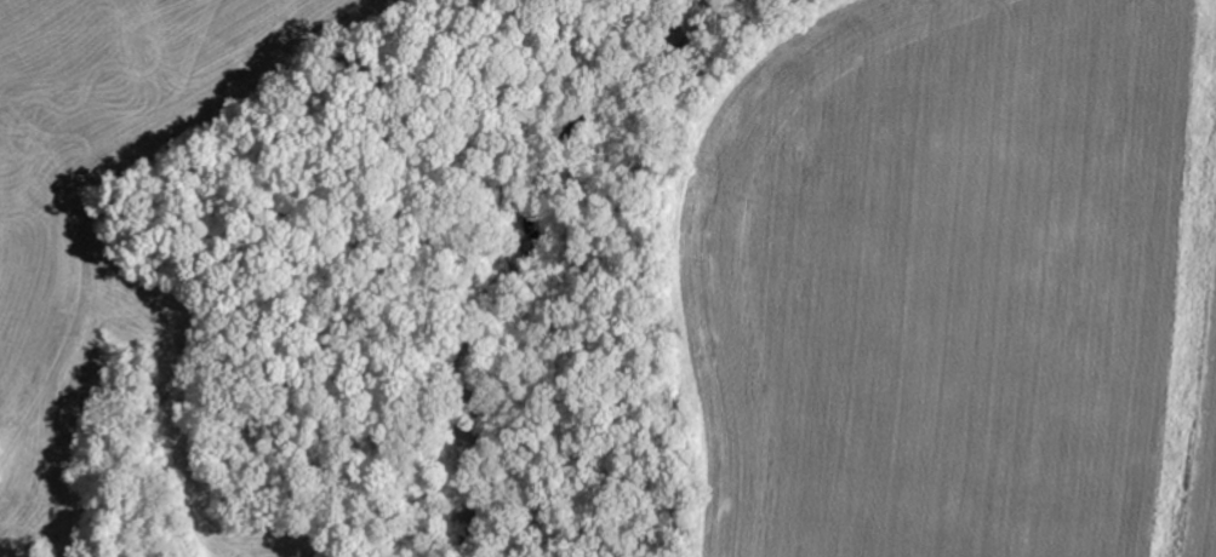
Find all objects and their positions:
road: (110, 140)

